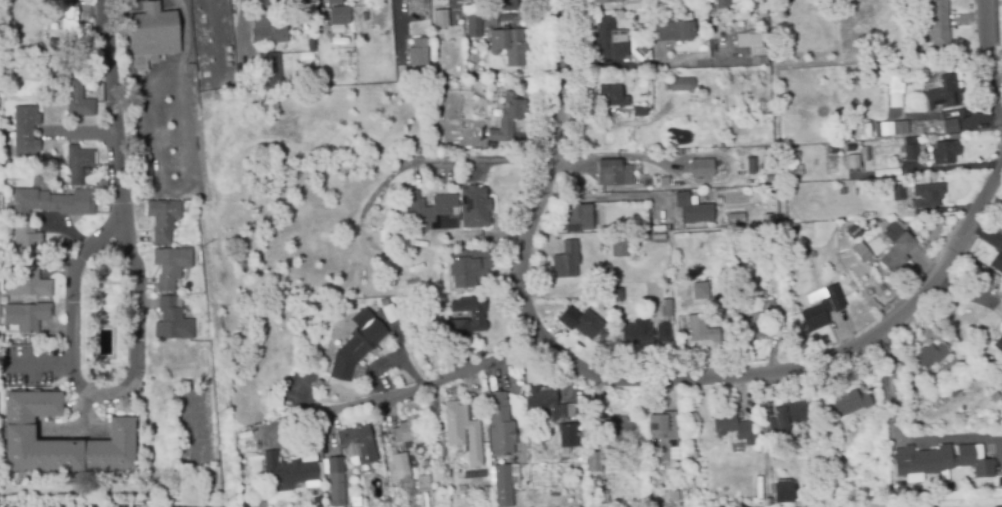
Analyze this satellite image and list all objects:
building: (439, 0)
building: (333, 2)
building: (605, 2)
building: (721, 3)
building: (634, 5)
building: (508, 6)
building: (263, 7)
building: (419, 7)
building: (339, 16)
building: (68, 19)
building: (440, 20)
building: (473, 22)
building: (942, 24)
road: (397, 30)
building: (673, 32)
building: (151, 36)
building: (270, 36)
building: (608, 41)
building: (752, 46)
building: (508, 47)
building: (637, 50)
building: (417, 54)
road: (987, 56)
road: (172, 66)
building: (188, 70)
building: (271, 72)
building: (400, 75)
building: (626, 79)
building: (678, 85)
power tower: (240, 90)
power tower: (212, 91)
building: (894, 91)
building: (948, 92)
building: (611, 97)
building: (694, 101)
building: (79, 103)
road: (115, 113)
building: (638, 113)
building: (507, 118)
building: (954, 127)
building: (881, 128)
building: (901, 129)
building: (25, 132)
building: (908, 150)
building: (949, 151)
road: (468, 158)
building: (77, 164)
building: (143, 164)
building: (701, 169)
road: (542, 172)
building: (613, 174)
building: (878, 191)
building: (898, 195)
building: (927, 196)
road: (608, 197)
building: (52, 204)
building: (688, 210)
building: (447, 211)
building: (163, 218)
building: (578, 218)
building: (734, 219)
building: (854, 231)
building: (846, 240)
building: (25, 241)
building: (398, 242)
power tower: (198, 244)
building: (895, 246)
building: (619, 247)
power tower: (225, 251)
building: (861, 253)
building: (567, 260)
building: (997, 261)
building: (170, 267)
building: (471, 268)
building: (27, 286)
building: (699, 290)
building: (614, 297)
building: (820, 307)
building: (665, 309)
building: (476, 317)
building: (26, 318)
building: (1001, 320)
building: (172, 321)
building: (754, 322)
building: (583, 324)
building: (700, 330)
building: (662, 332)
building: (637, 334)
building: (998, 344)
building: (355, 350)
building: (934, 354)
road: (45, 366)
road: (663, 384)
road: (100, 397)
building: (271, 398)
building: (542, 402)
building: (849, 404)
power tower: (216, 411)
building: (566, 412)
building: (791, 414)
power tower: (244, 427)
building: (617, 429)
building: (18, 430)
building: (407, 431)
building: (734, 432)
building: (462, 433)
building: (566, 438)
road: (894, 438)
building: (661, 440)
building: (356, 446)
building: (501, 447)
building: (829, 461)
building: (592, 462)
building: (942, 462)
building: (399, 464)
building: (280, 470)
building: (336, 483)
building: (422, 483)
building: (593, 483)
building: (782, 492)
building: (604, 498)
power tower: (223, 501)
building: (354, 502)

